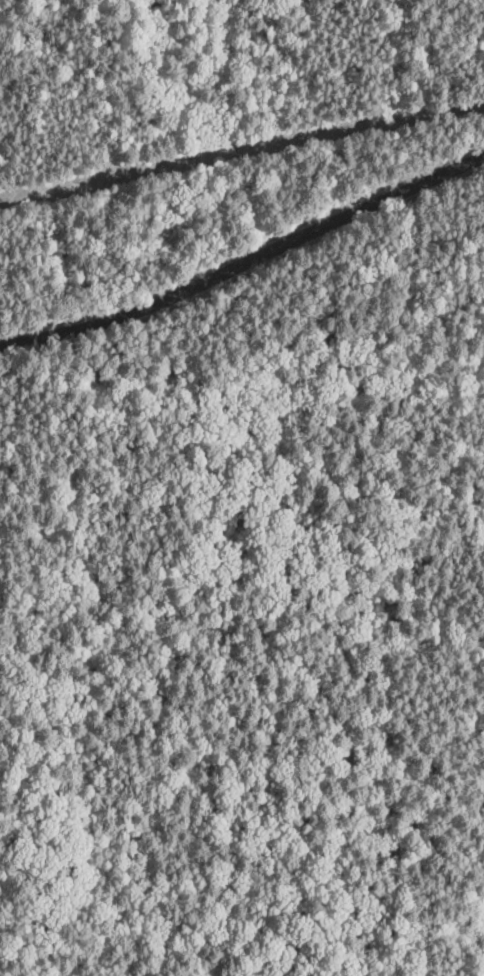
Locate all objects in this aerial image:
road: (245, 263)
park: (242, 488)

